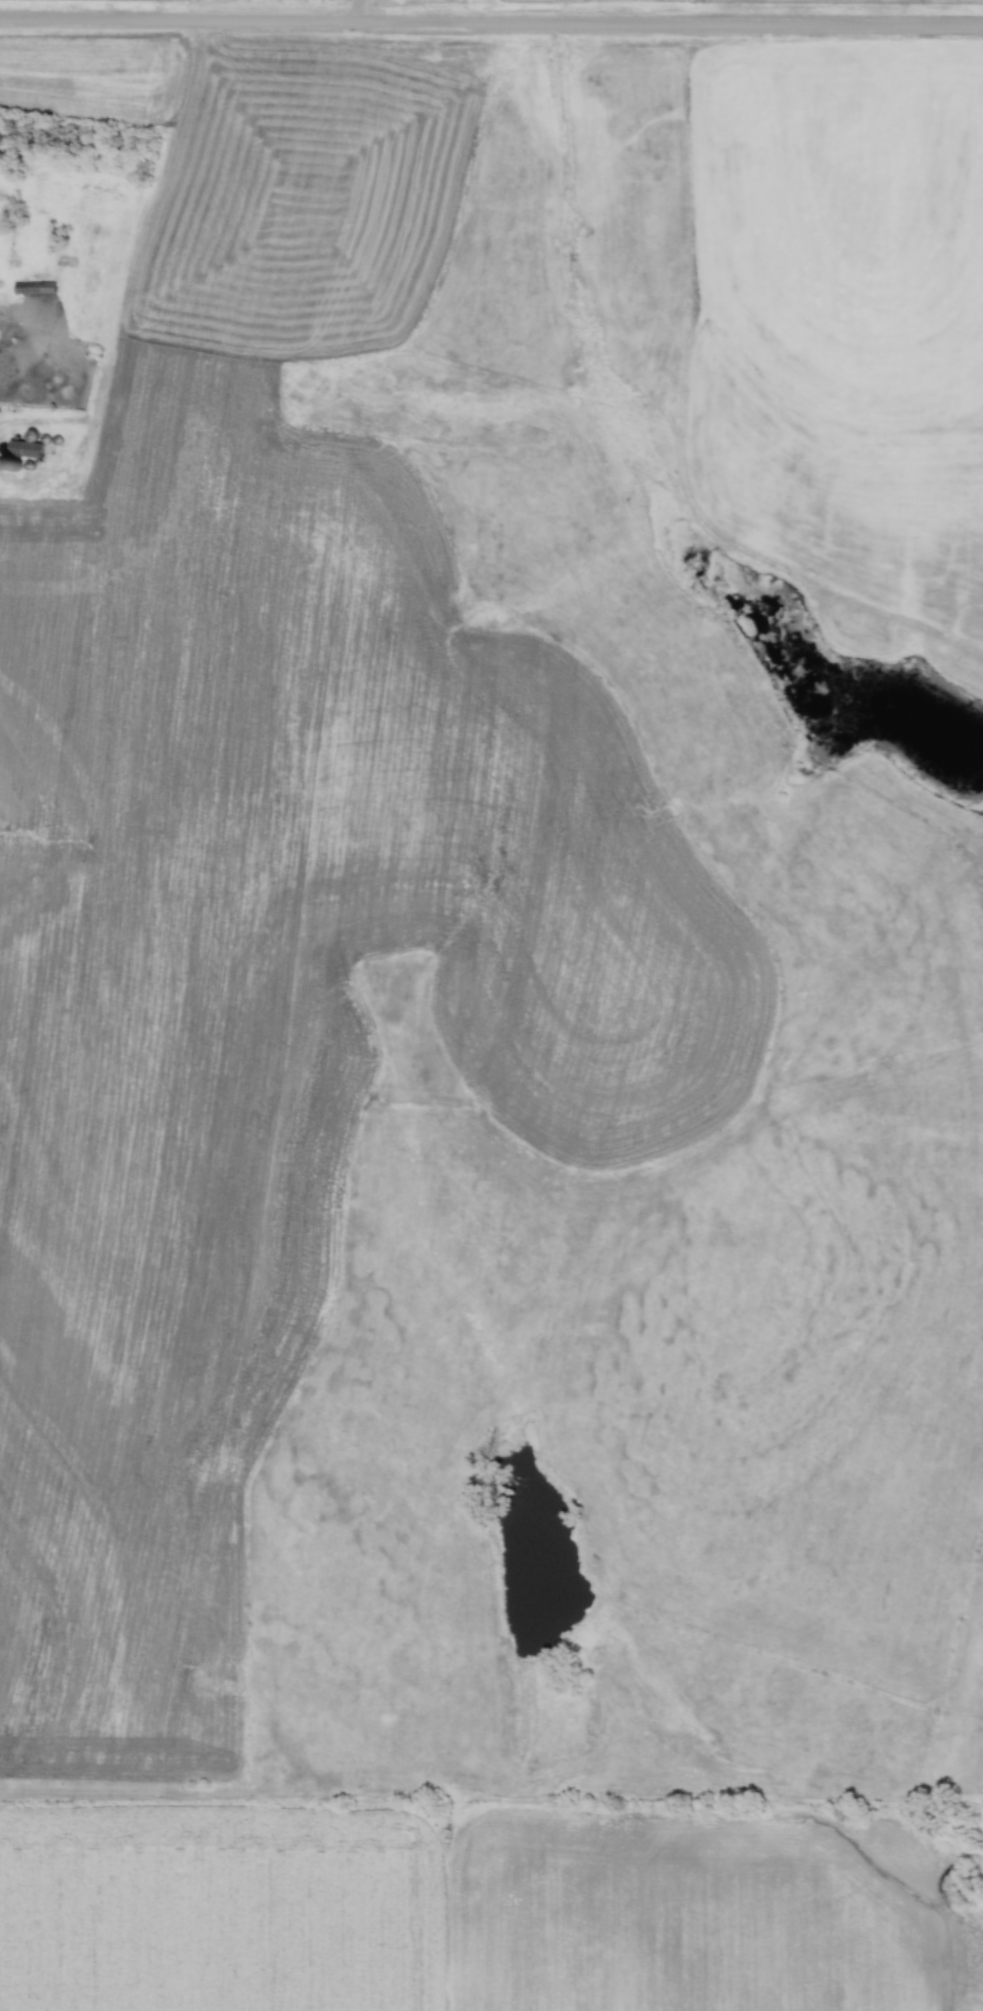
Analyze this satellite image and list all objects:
road: (362, 11)
road: (491, 28)
building: (36, 287)
building: (28, 449)

